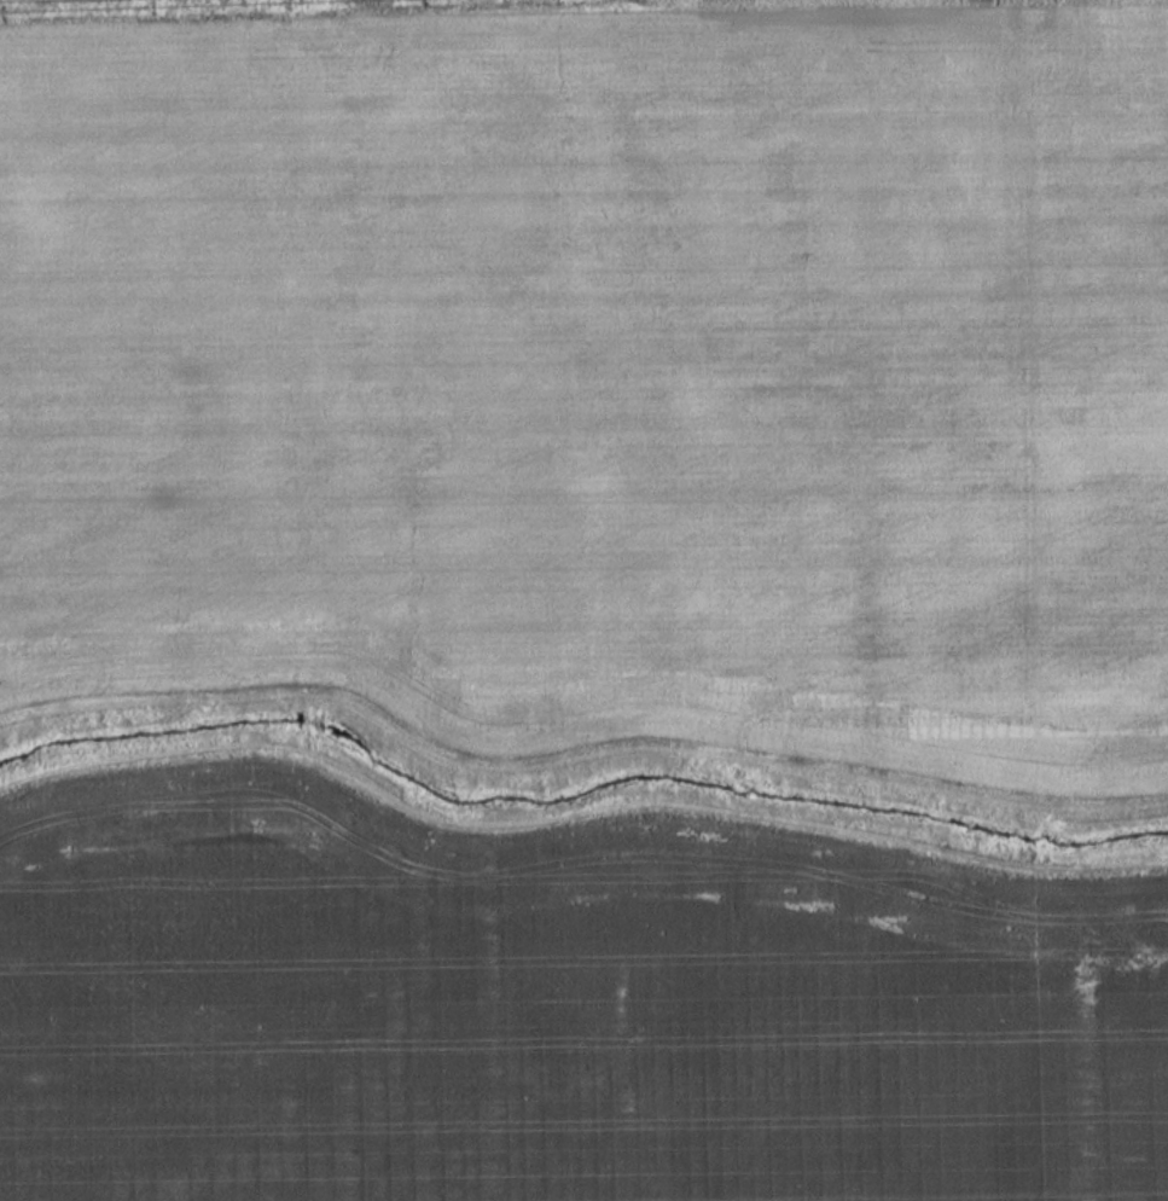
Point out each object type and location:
crop: (599, 367)
crop: (552, 1009)

